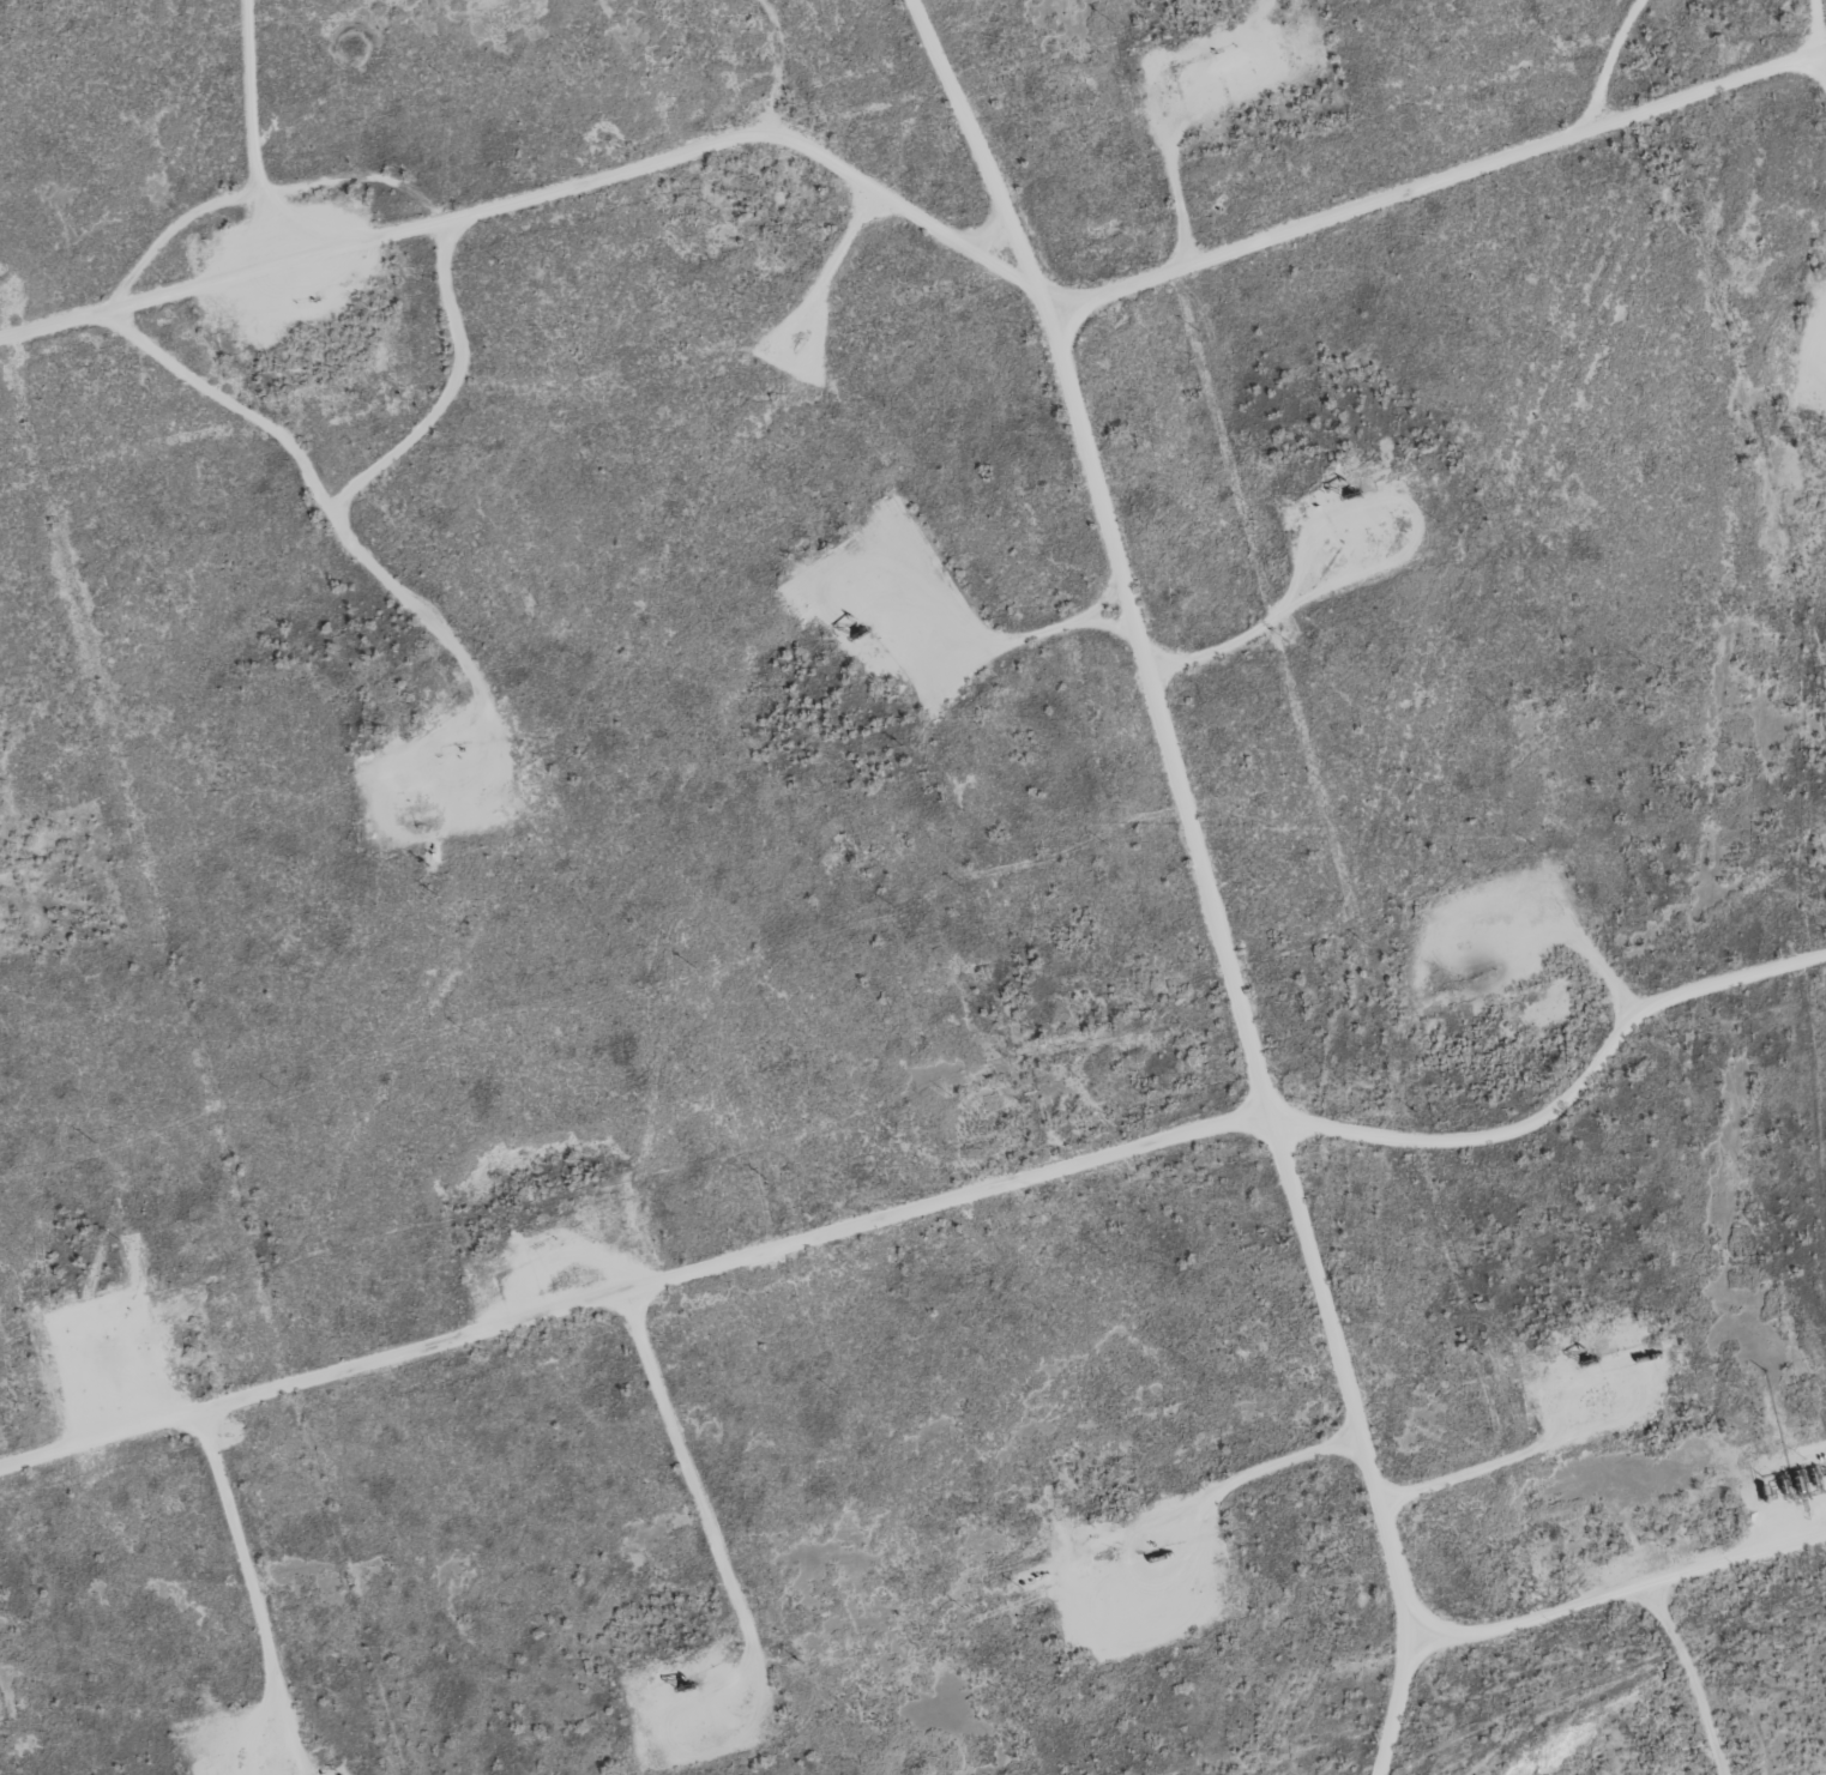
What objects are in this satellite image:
road: (1820, 23)
road: (918, 215)
petroleum well: (1350, 488)
petroleum well: (851, 636)
road: (1186, 809)
road: (932, 1206)
petroleum well: (1585, 1359)
road: (1554, 1608)
petroleum well: (679, 1688)

